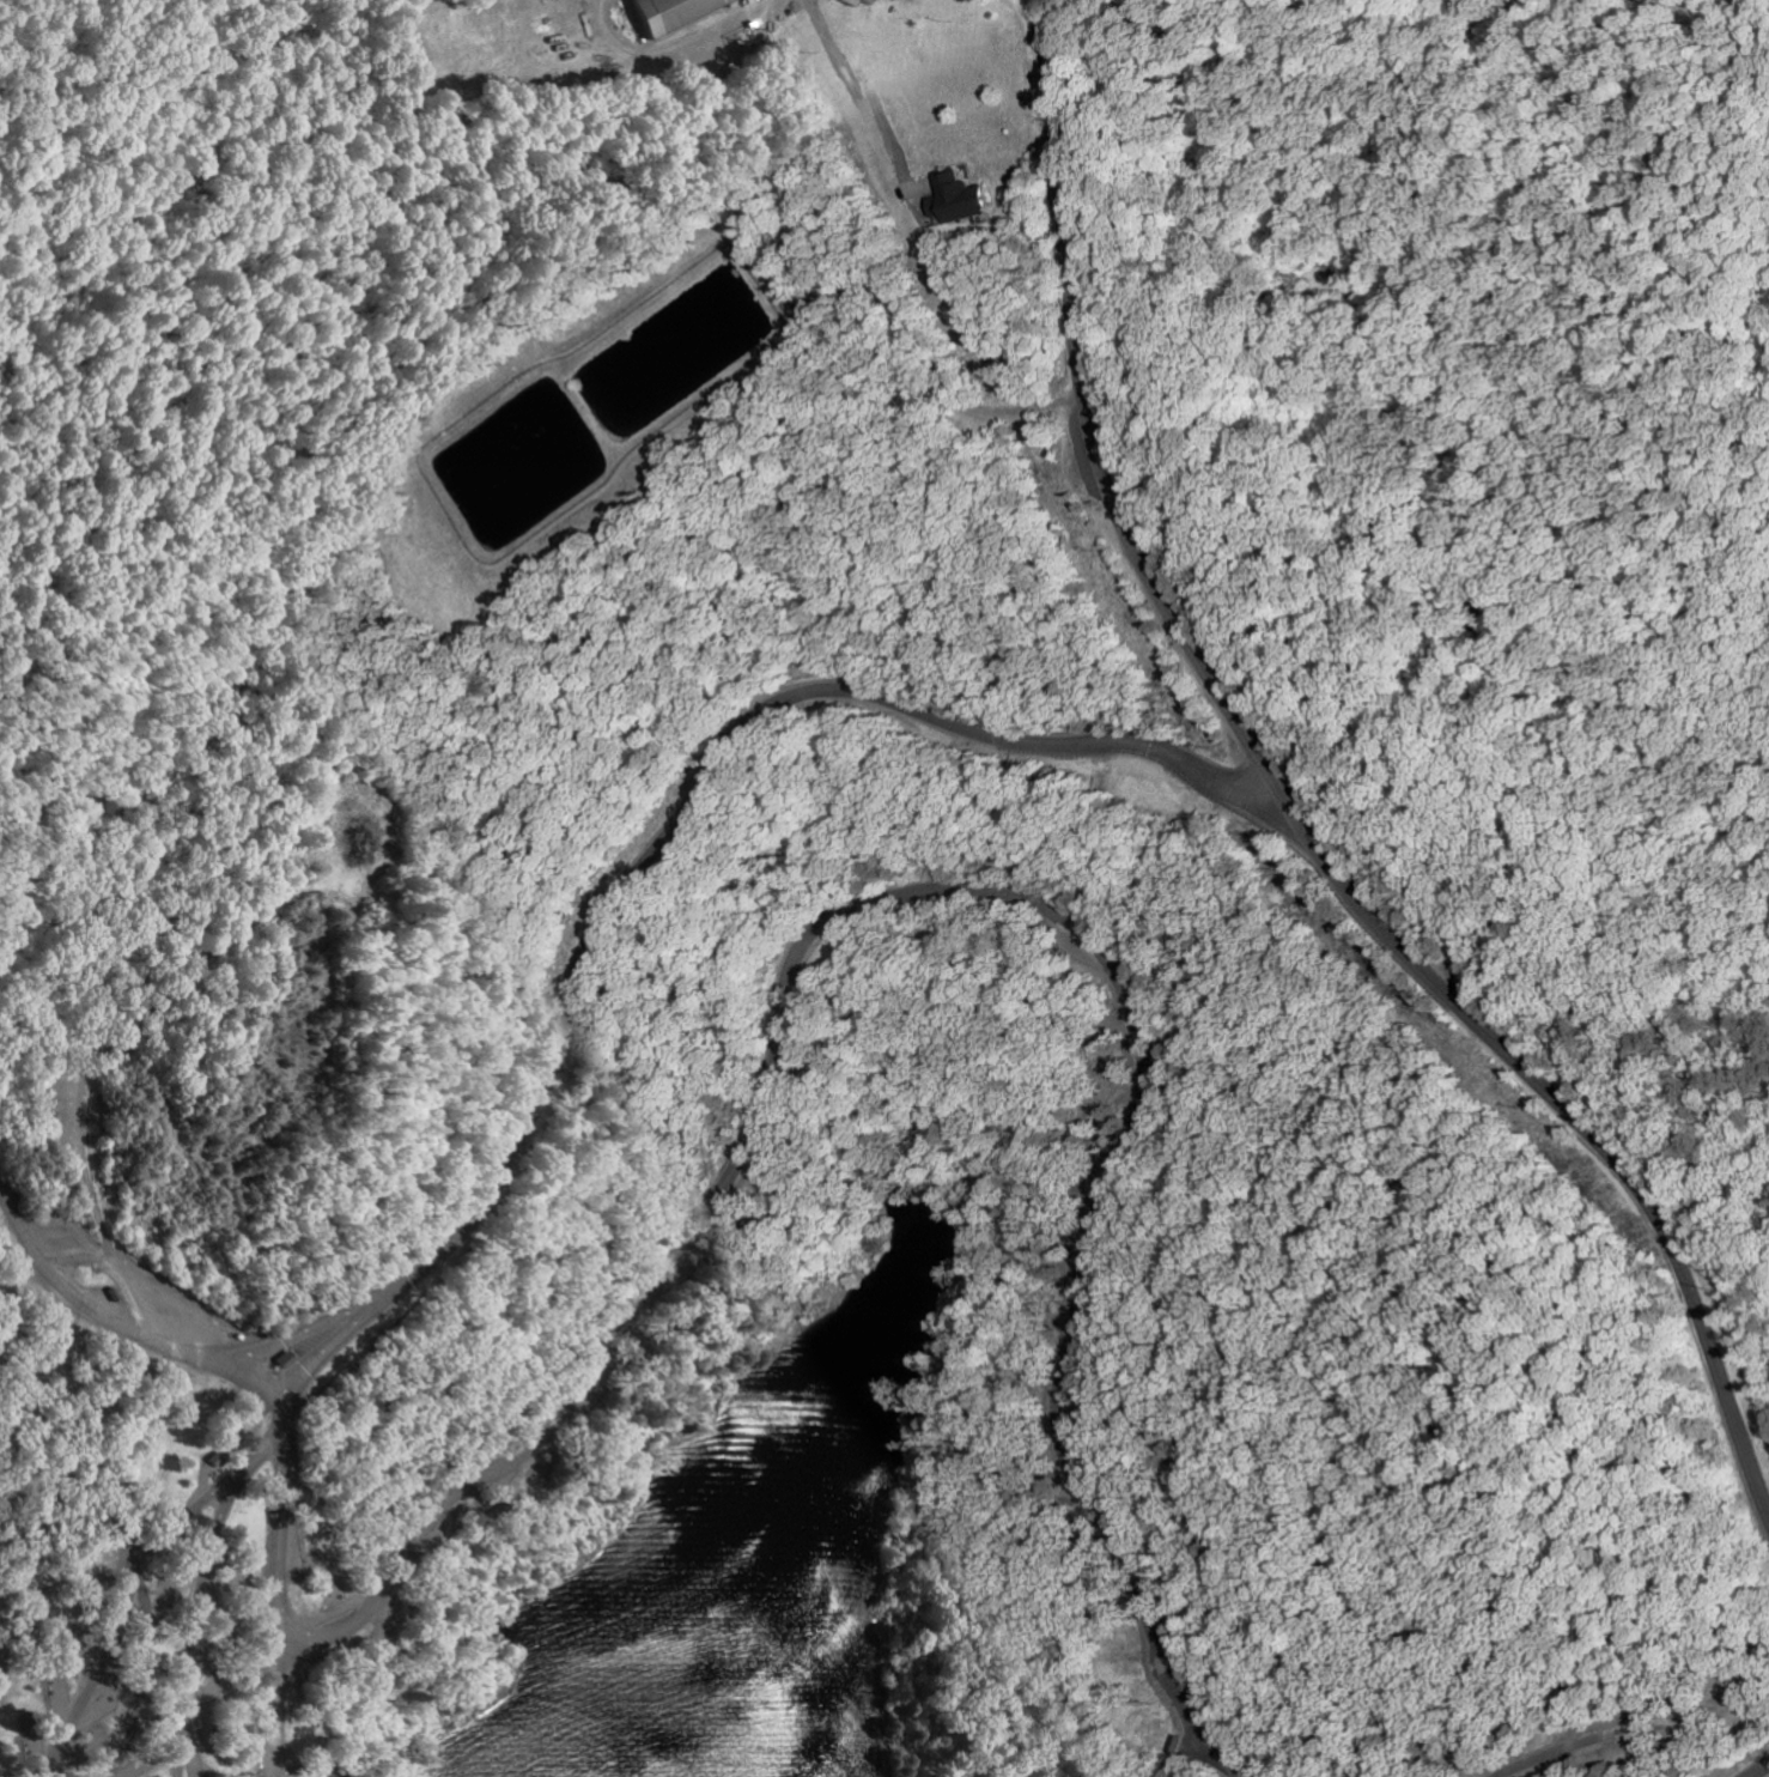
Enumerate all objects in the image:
building: (865, 1)
building: (665, 13)
building: (955, 198)
road: (1291, 815)
road: (649, 845)
road: (949, 888)
park: (911, 940)
road: (4, 1199)
road: (263, 1406)
road: (239, 1485)
road: (118, 1625)
road: (195, 1638)
road: (4, 1670)
road: (145, 1685)
road: (1636, 1733)
road: (1761, 1772)
road: (273, 1773)
road: (276, 1773)

